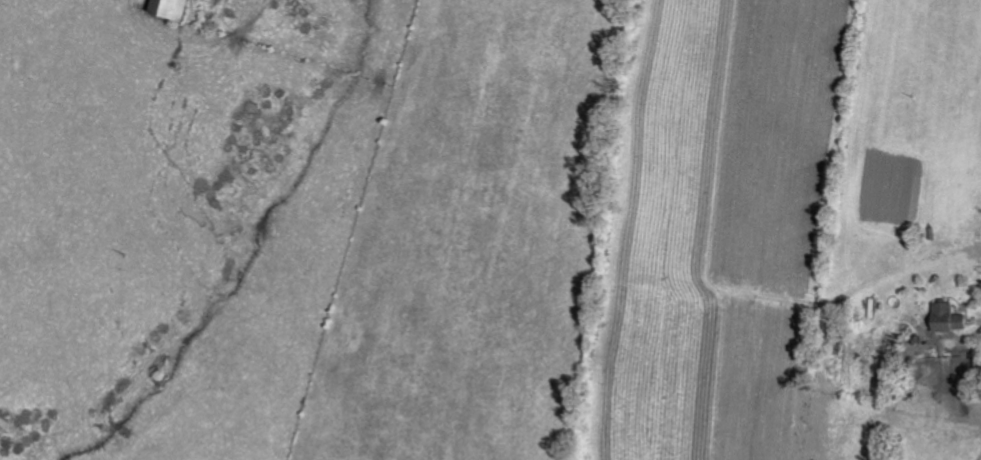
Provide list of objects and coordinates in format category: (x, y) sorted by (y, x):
building: (172, 8)
building: (948, 317)

